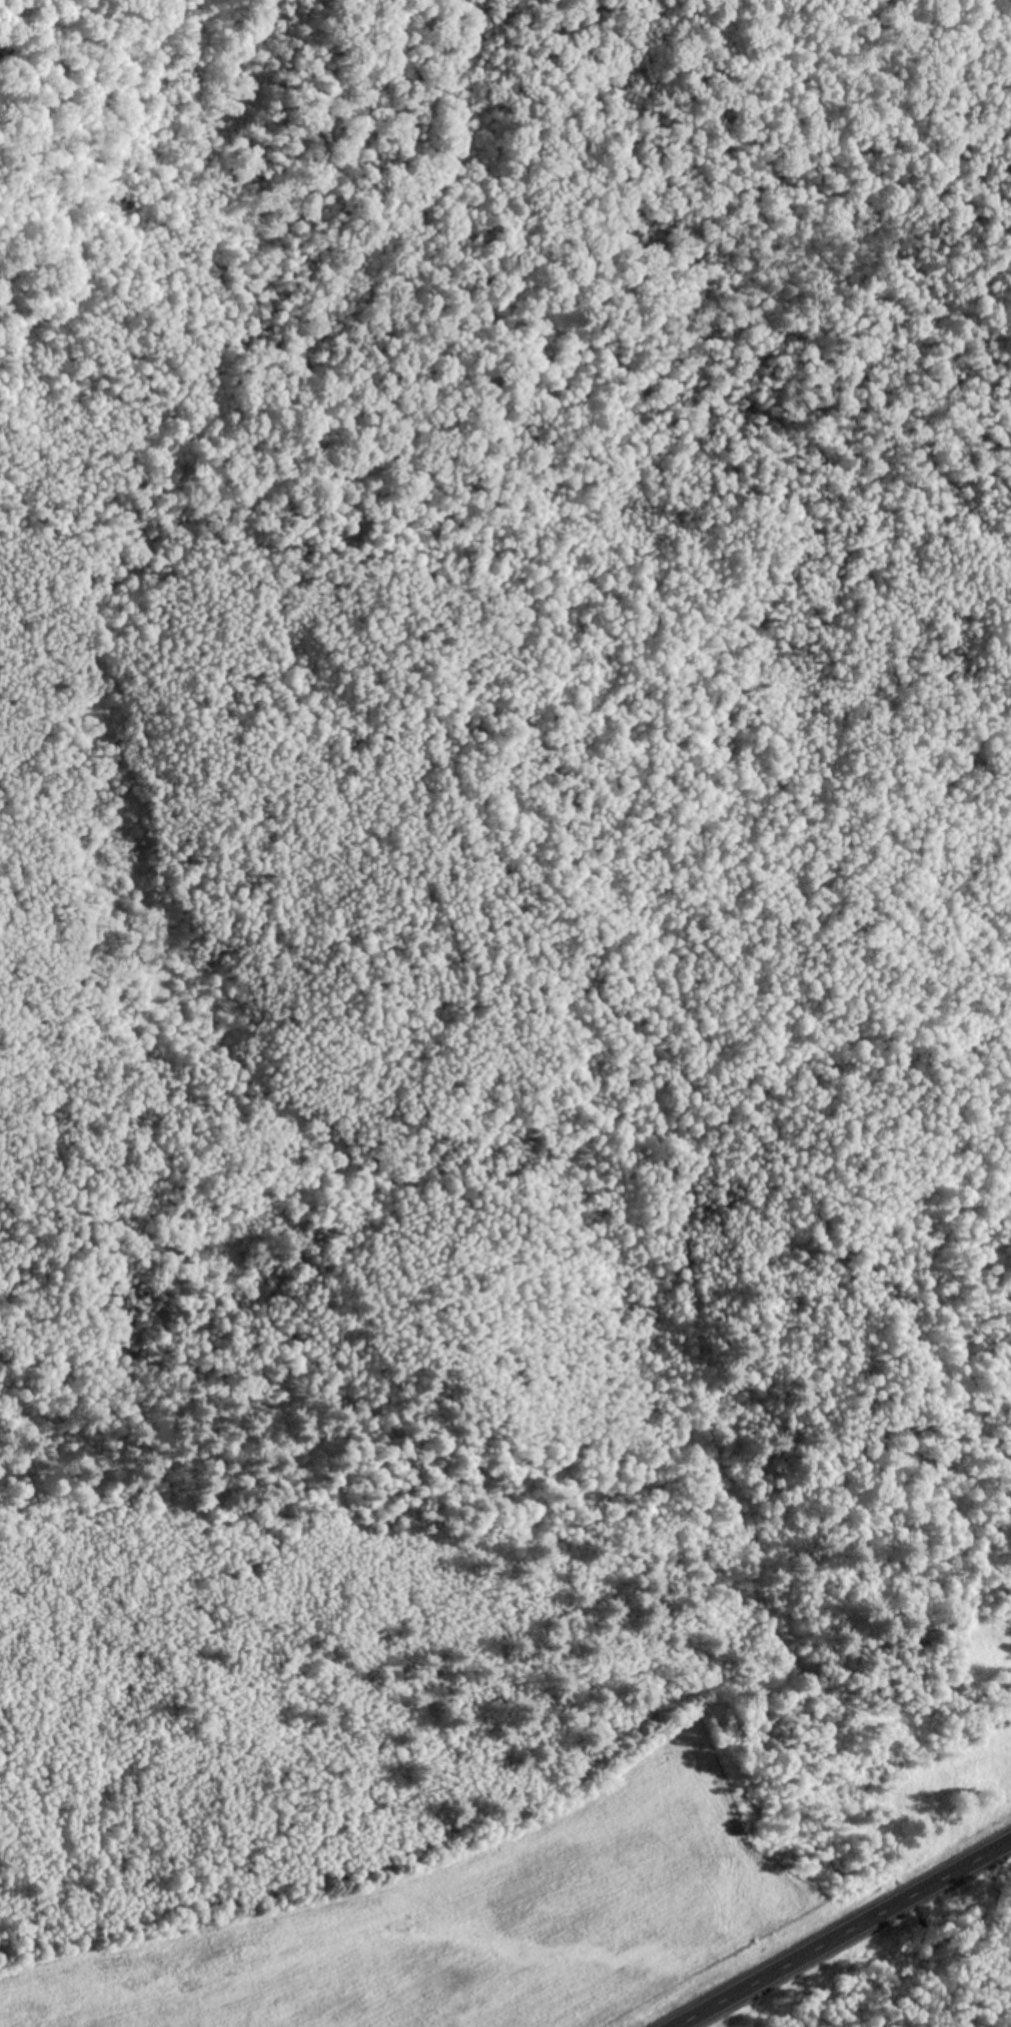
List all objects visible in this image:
road: (841, 1933)

